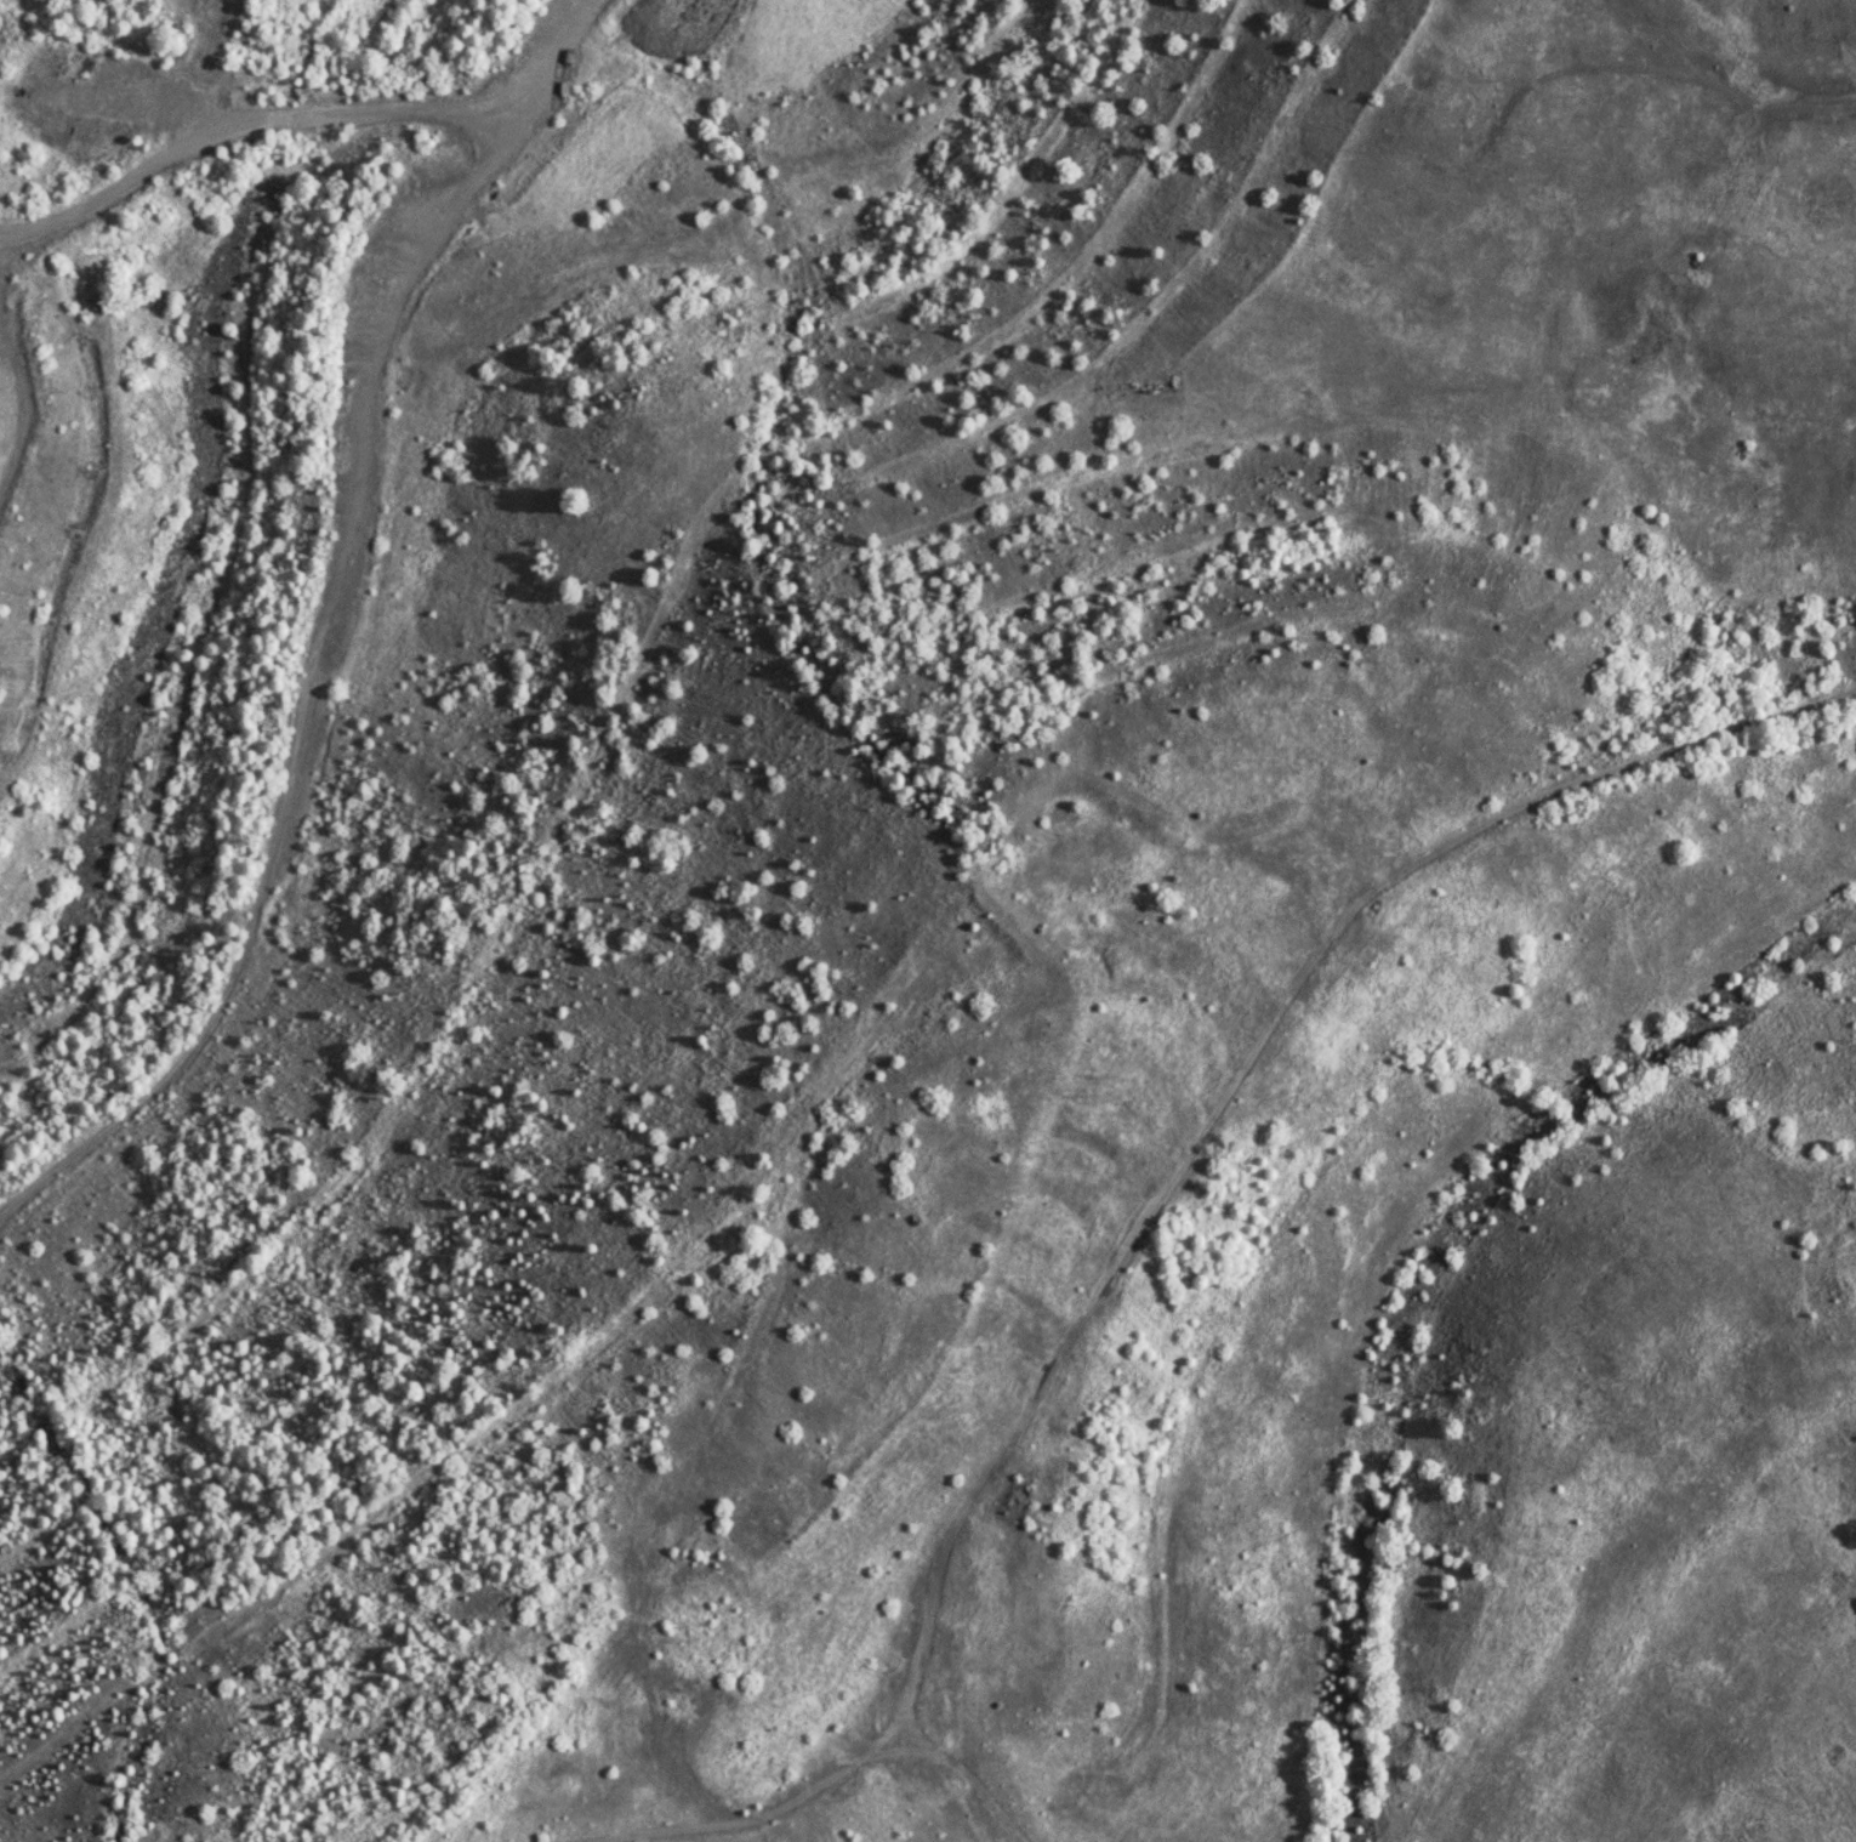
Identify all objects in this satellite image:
building: (421, 182)
quarry: (928, 921)

